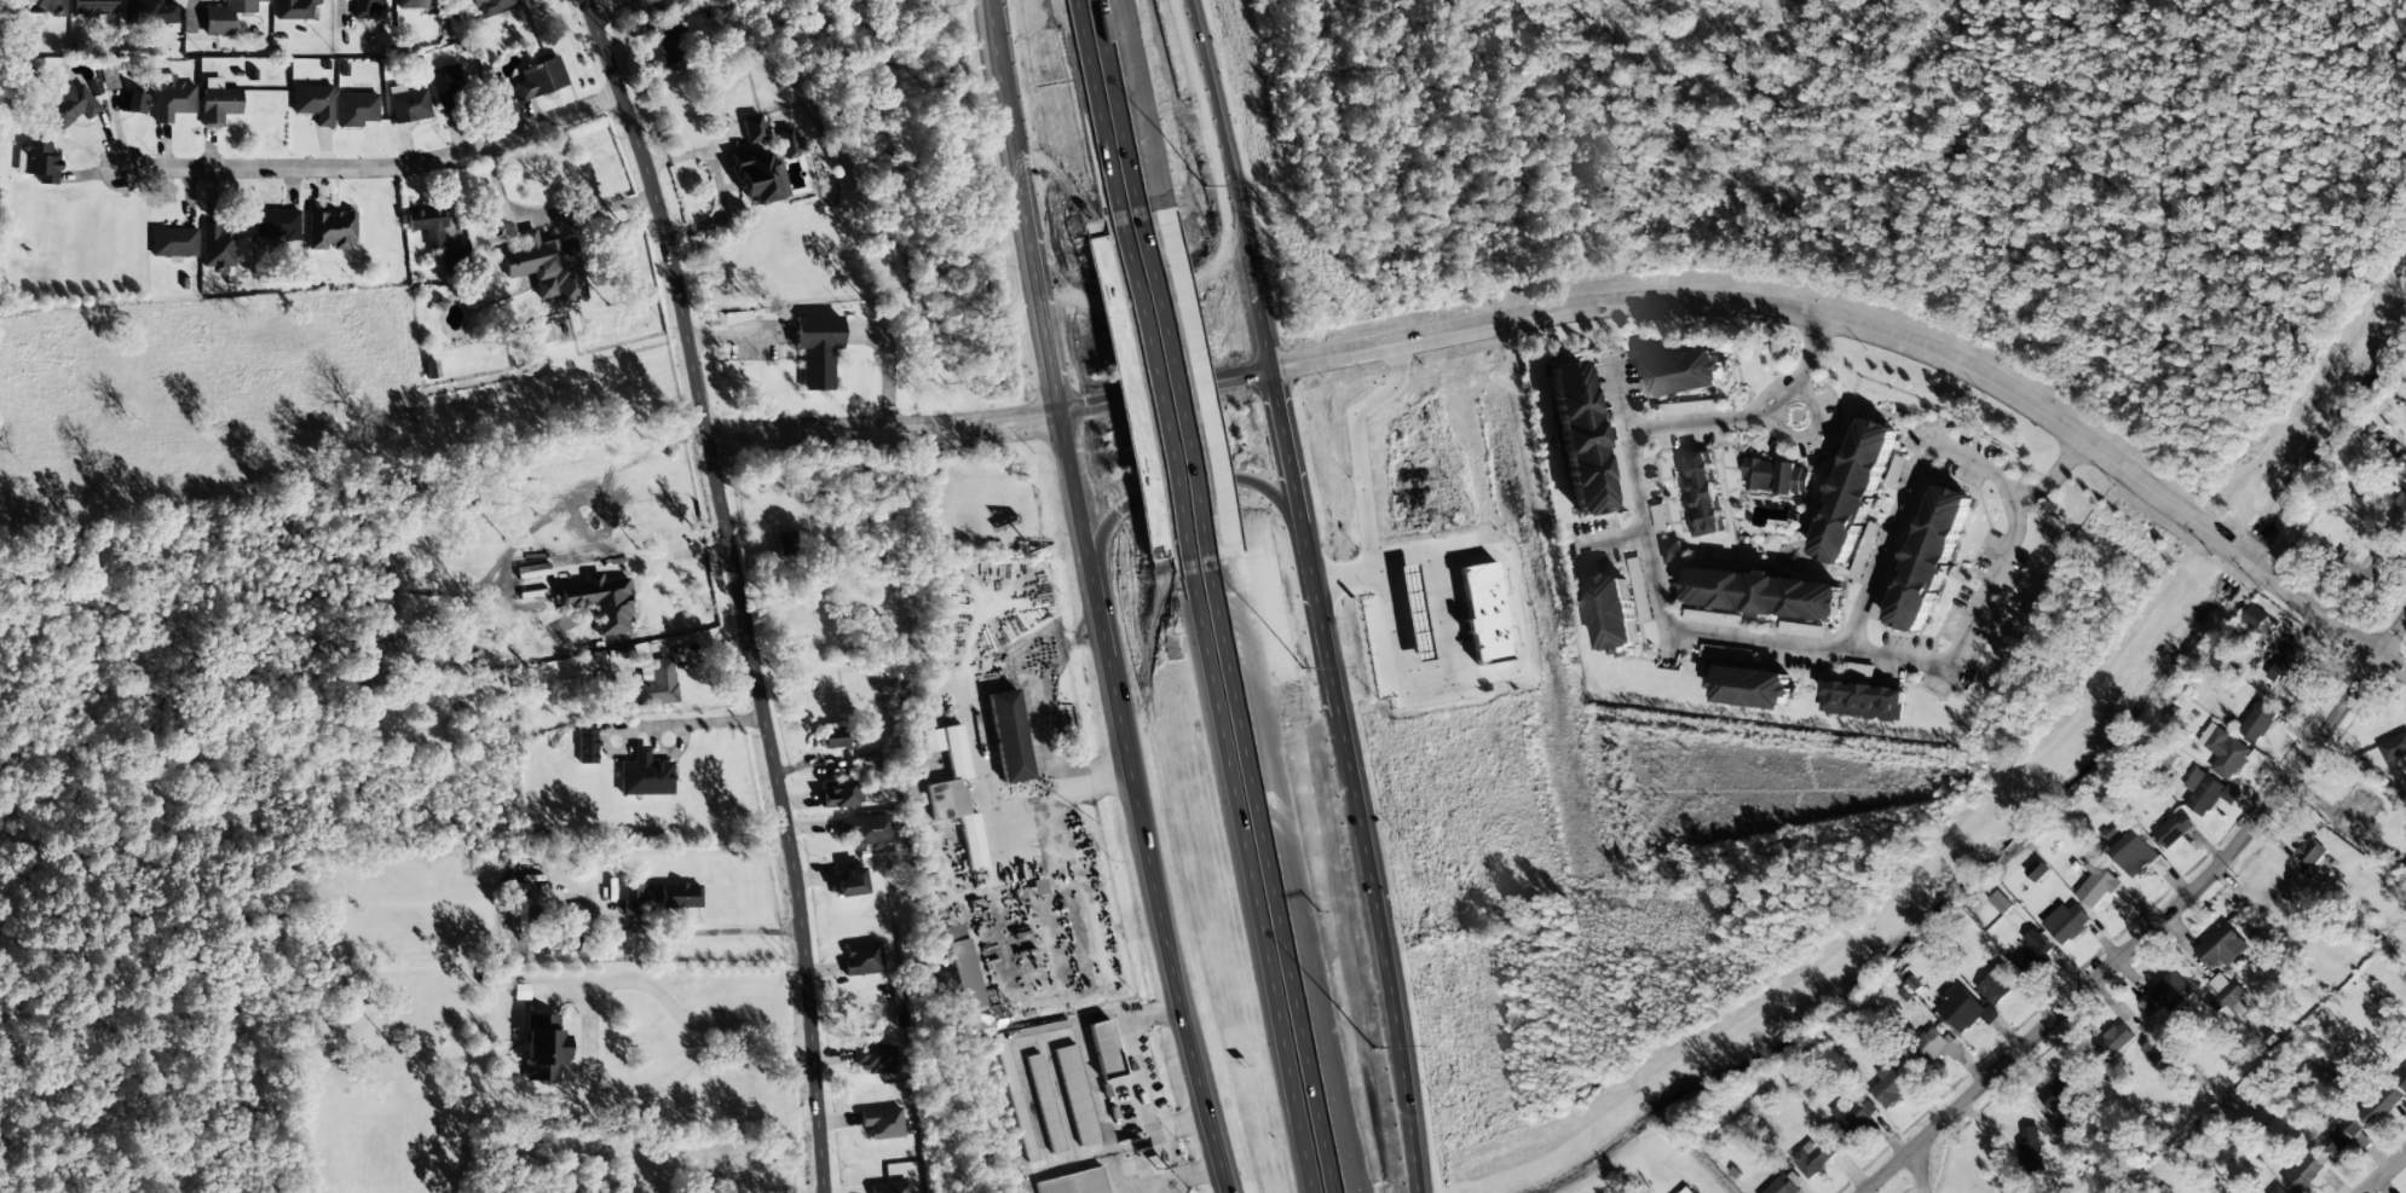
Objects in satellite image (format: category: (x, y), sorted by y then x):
building: (652, 0)
building: (417, 4)
building: (93, 6)
building: (492, 6)
building: (45, 7)
building: (365, 7)
building: (294, 8)
building: (148, 12)
building: (226, 16)
building: (668, 39)
building: (540, 79)
building: (446, 88)
building: (172, 100)
building: (218, 102)
building: (134, 103)
building: (315, 103)
building: (408, 104)
building: (70, 105)
road: (1118, 106)
building: (357, 109)
road: (1091, 110)
building: (752, 129)
building: (786, 144)
building: (37, 162)
road: (377, 168)
building: (760, 176)
road: (1227, 184)
road: (1022, 207)
road: (660, 213)
building: (426, 224)
building: (276, 225)
building: (330, 230)
building: (217, 248)
building: (451, 260)
building: (547, 267)
road: (1150, 291)
road: (1869, 330)
building: (538, 336)
building: (817, 349)
building: (1686, 373)
road: (1173, 387)
road: (1162, 392)
road: (1149, 394)
road: (1619, 401)
building: (1686, 409)
road: (881, 429)
road: (1810, 432)
building: (1577, 436)
building: (1777, 476)
road: (2052, 480)
road: (1183, 487)
building: (1856, 488)
building: (1700, 494)
building: (1621, 497)
building: (2400, 510)
building: (785, 543)
building: (1864, 550)
building: (1673, 551)
building: (1931, 557)
building: (2361, 564)
building: (1640, 589)
building: (1883, 591)
building: (1765, 593)
building: (602, 603)
building: (1410, 613)
building: (1483, 613)
building: (1614, 614)
building: (1712, 618)
building: (2258, 620)
road: (1830, 645)
road: (2393, 662)
building: (2285, 672)
building: (654, 683)
building: (1753, 687)
building: (1862, 700)
building: (2257, 722)
building: (1009, 736)
building: (831, 739)
building: (930, 741)
building: (587, 743)
building: (2393, 748)
building: (2225, 751)
building: (956, 752)
building: (2168, 758)
building: (867, 763)
building: (645, 776)
road: (1349, 780)
building: (2202, 792)
building: (839, 794)
road: (1137, 805)
road: (781, 810)
building: (2356, 815)
building: (2171, 830)
building: (865, 832)
building: (973, 844)
building: (2130, 850)
building: (2310, 858)
building: (2160, 865)
building: (2037, 870)
road: (1269, 878)
road: (1248, 880)
building: (850, 884)
building: (2096, 884)
building: (675, 896)
building: (631, 898)
building: (2000, 902)
building: (2066, 922)
road: (2157, 925)
building: (565, 940)
building: (2221, 946)
building: (2035, 949)
building: (861, 959)
building: (1997, 984)
building: (970, 985)
building: (2168, 994)
building: (1963, 1009)
building: (2112, 1042)
building: (1938, 1047)
building: (542, 1048)
building: (1103, 1049)
building: (2154, 1050)
building: (875, 1059)
building: (2401, 1078)
building: (1889, 1085)
building: (2061, 1088)
building: (1075, 1095)
building: (1015, 1100)
building: (1044, 1105)
building: (2381, 1106)
building: (1854, 1119)
building: (882, 1123)
building: (2341, 1135)
building: (2030, 1149)
building: (1813, 1158)
road: (1923, 1166)
building: (2304, 1172)
road: (2384, 1172)
building: (1075, 1183)
building: (1783, 1186)
building: (889, 1188)
building: (2278, 1189)
building: (1687, 1191)

